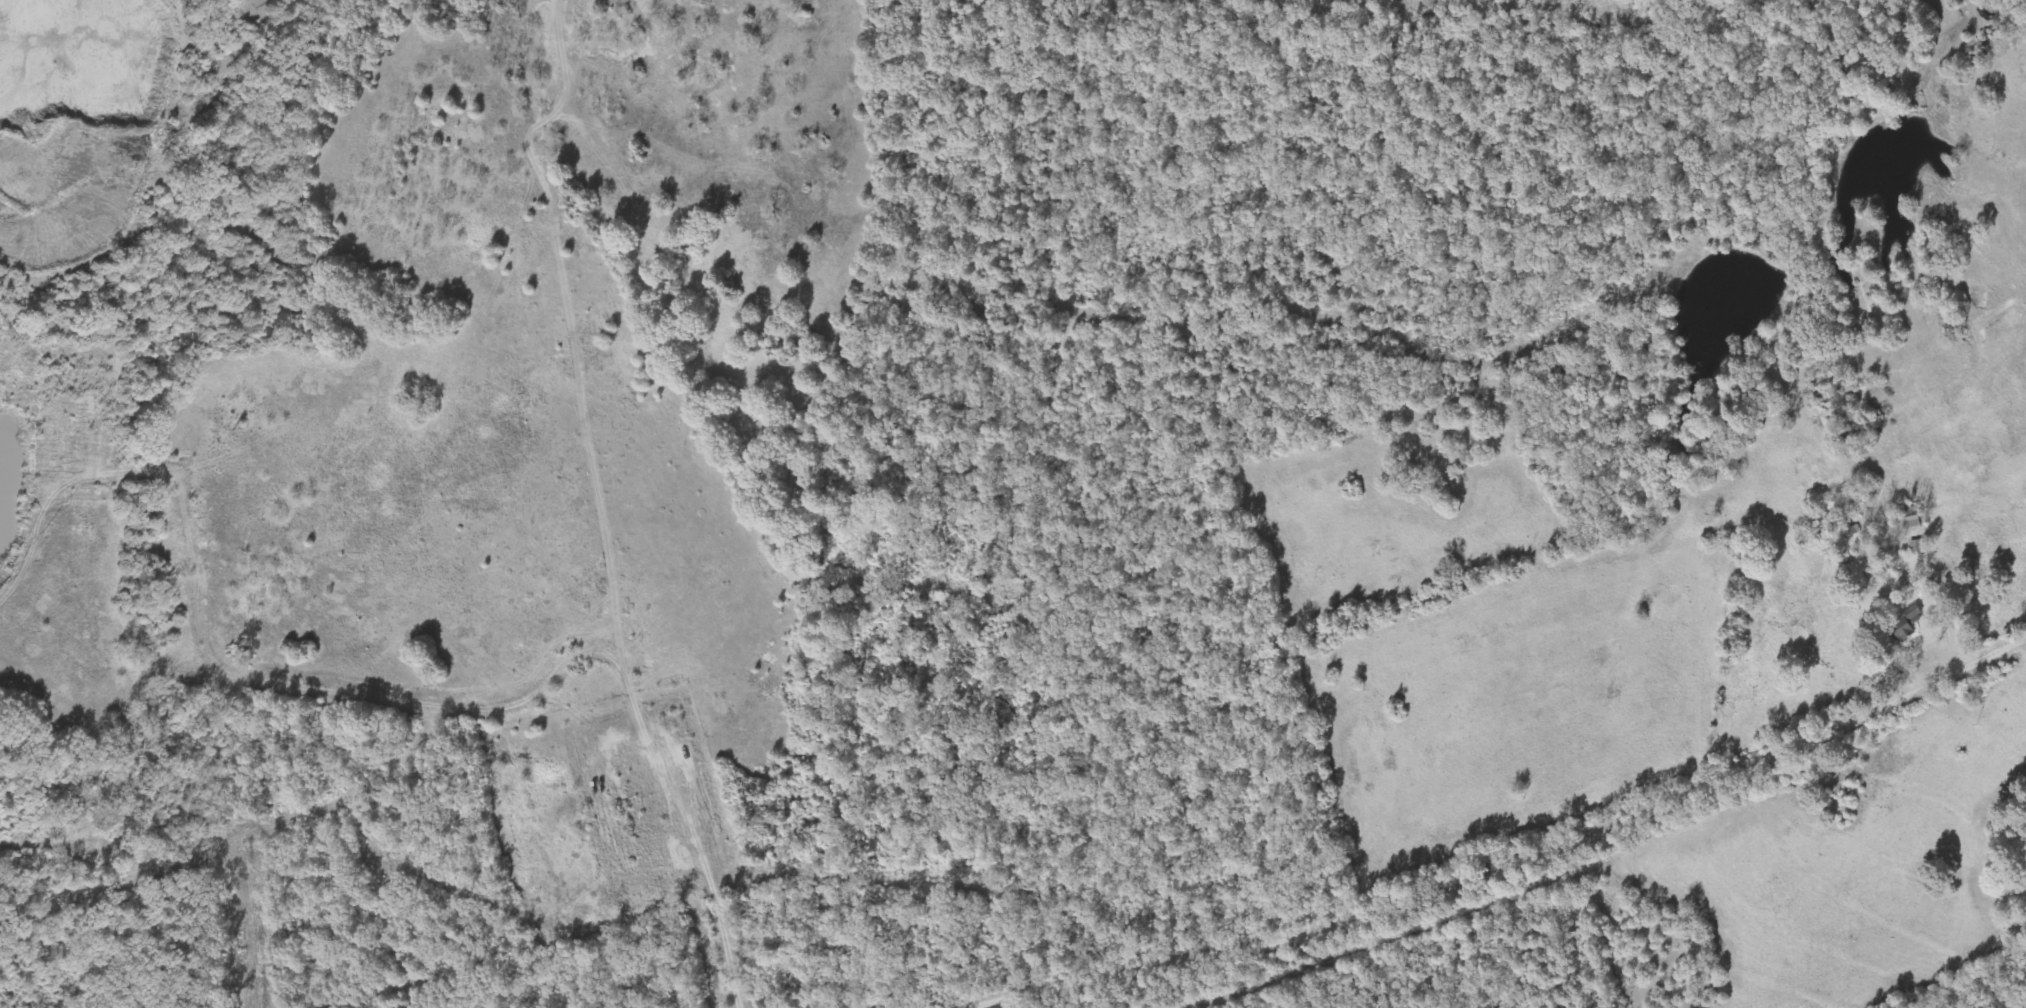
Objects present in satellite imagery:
building: (1906, 625)
road: (1552, 854)

